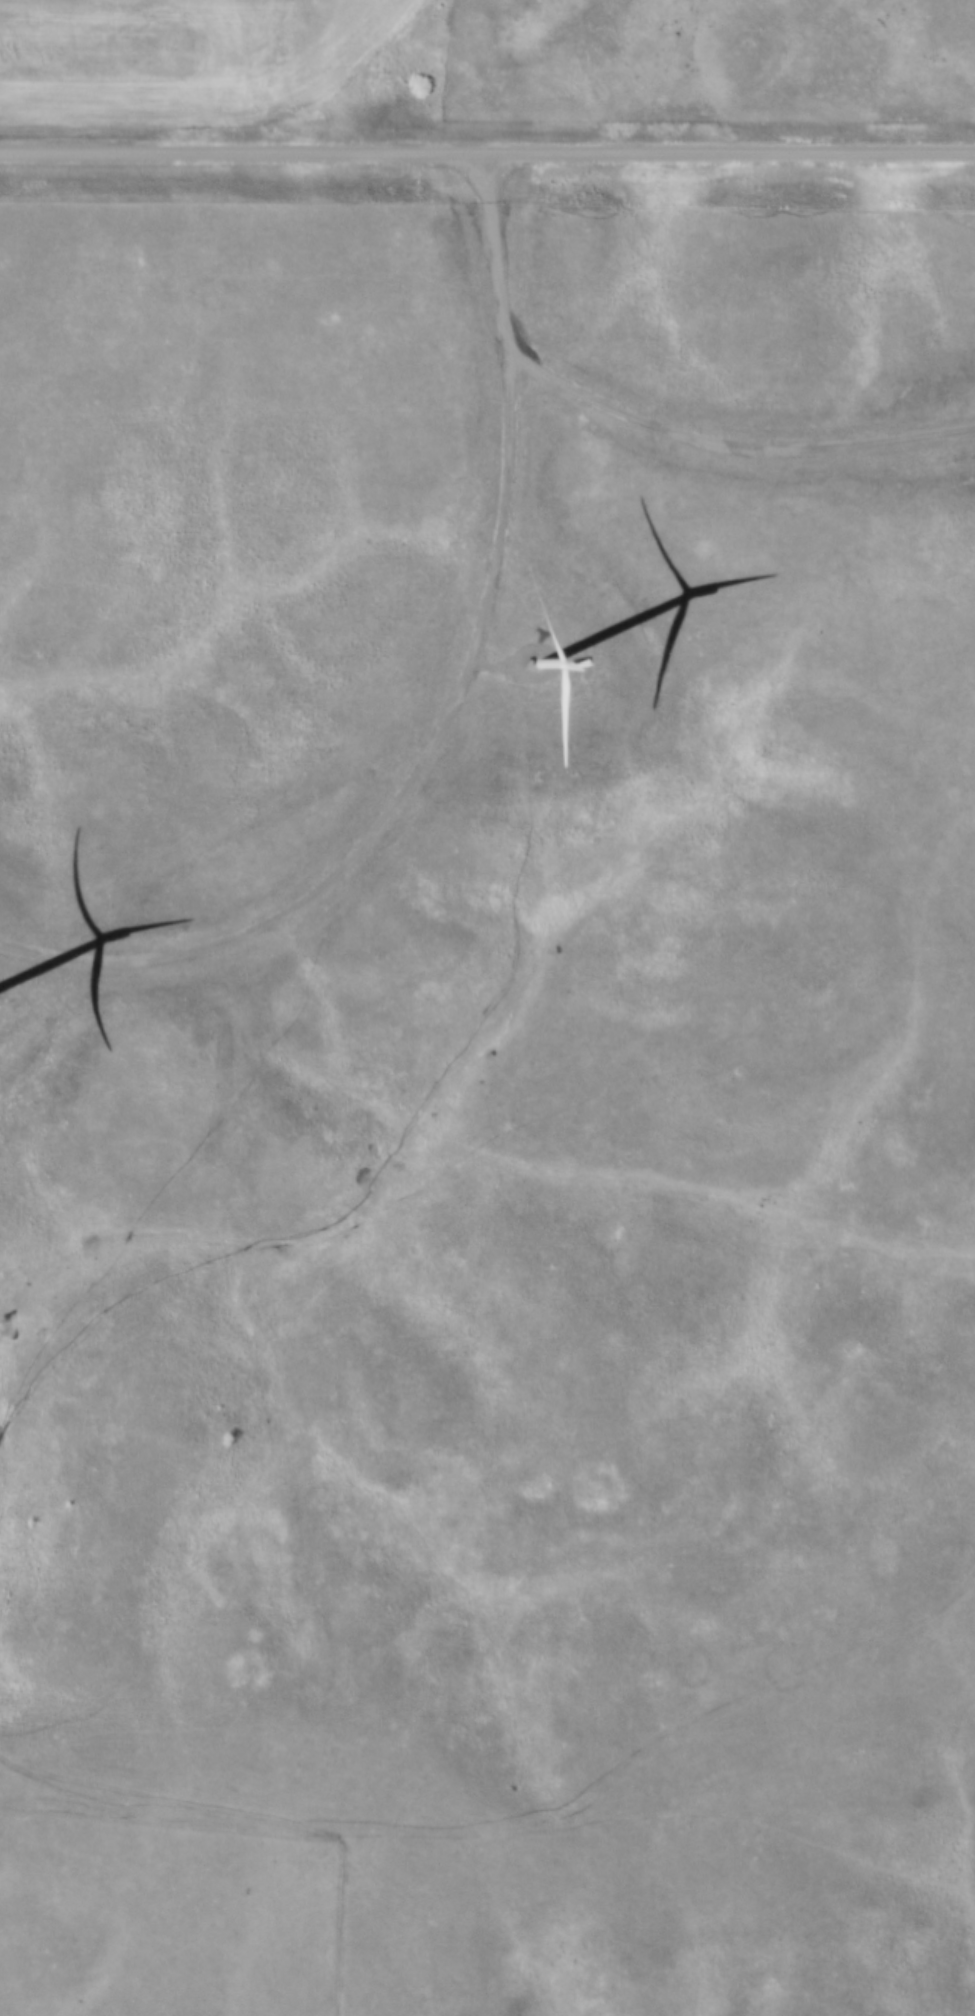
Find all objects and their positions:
road: (487, 144)
wind turbine: (537, 666)

